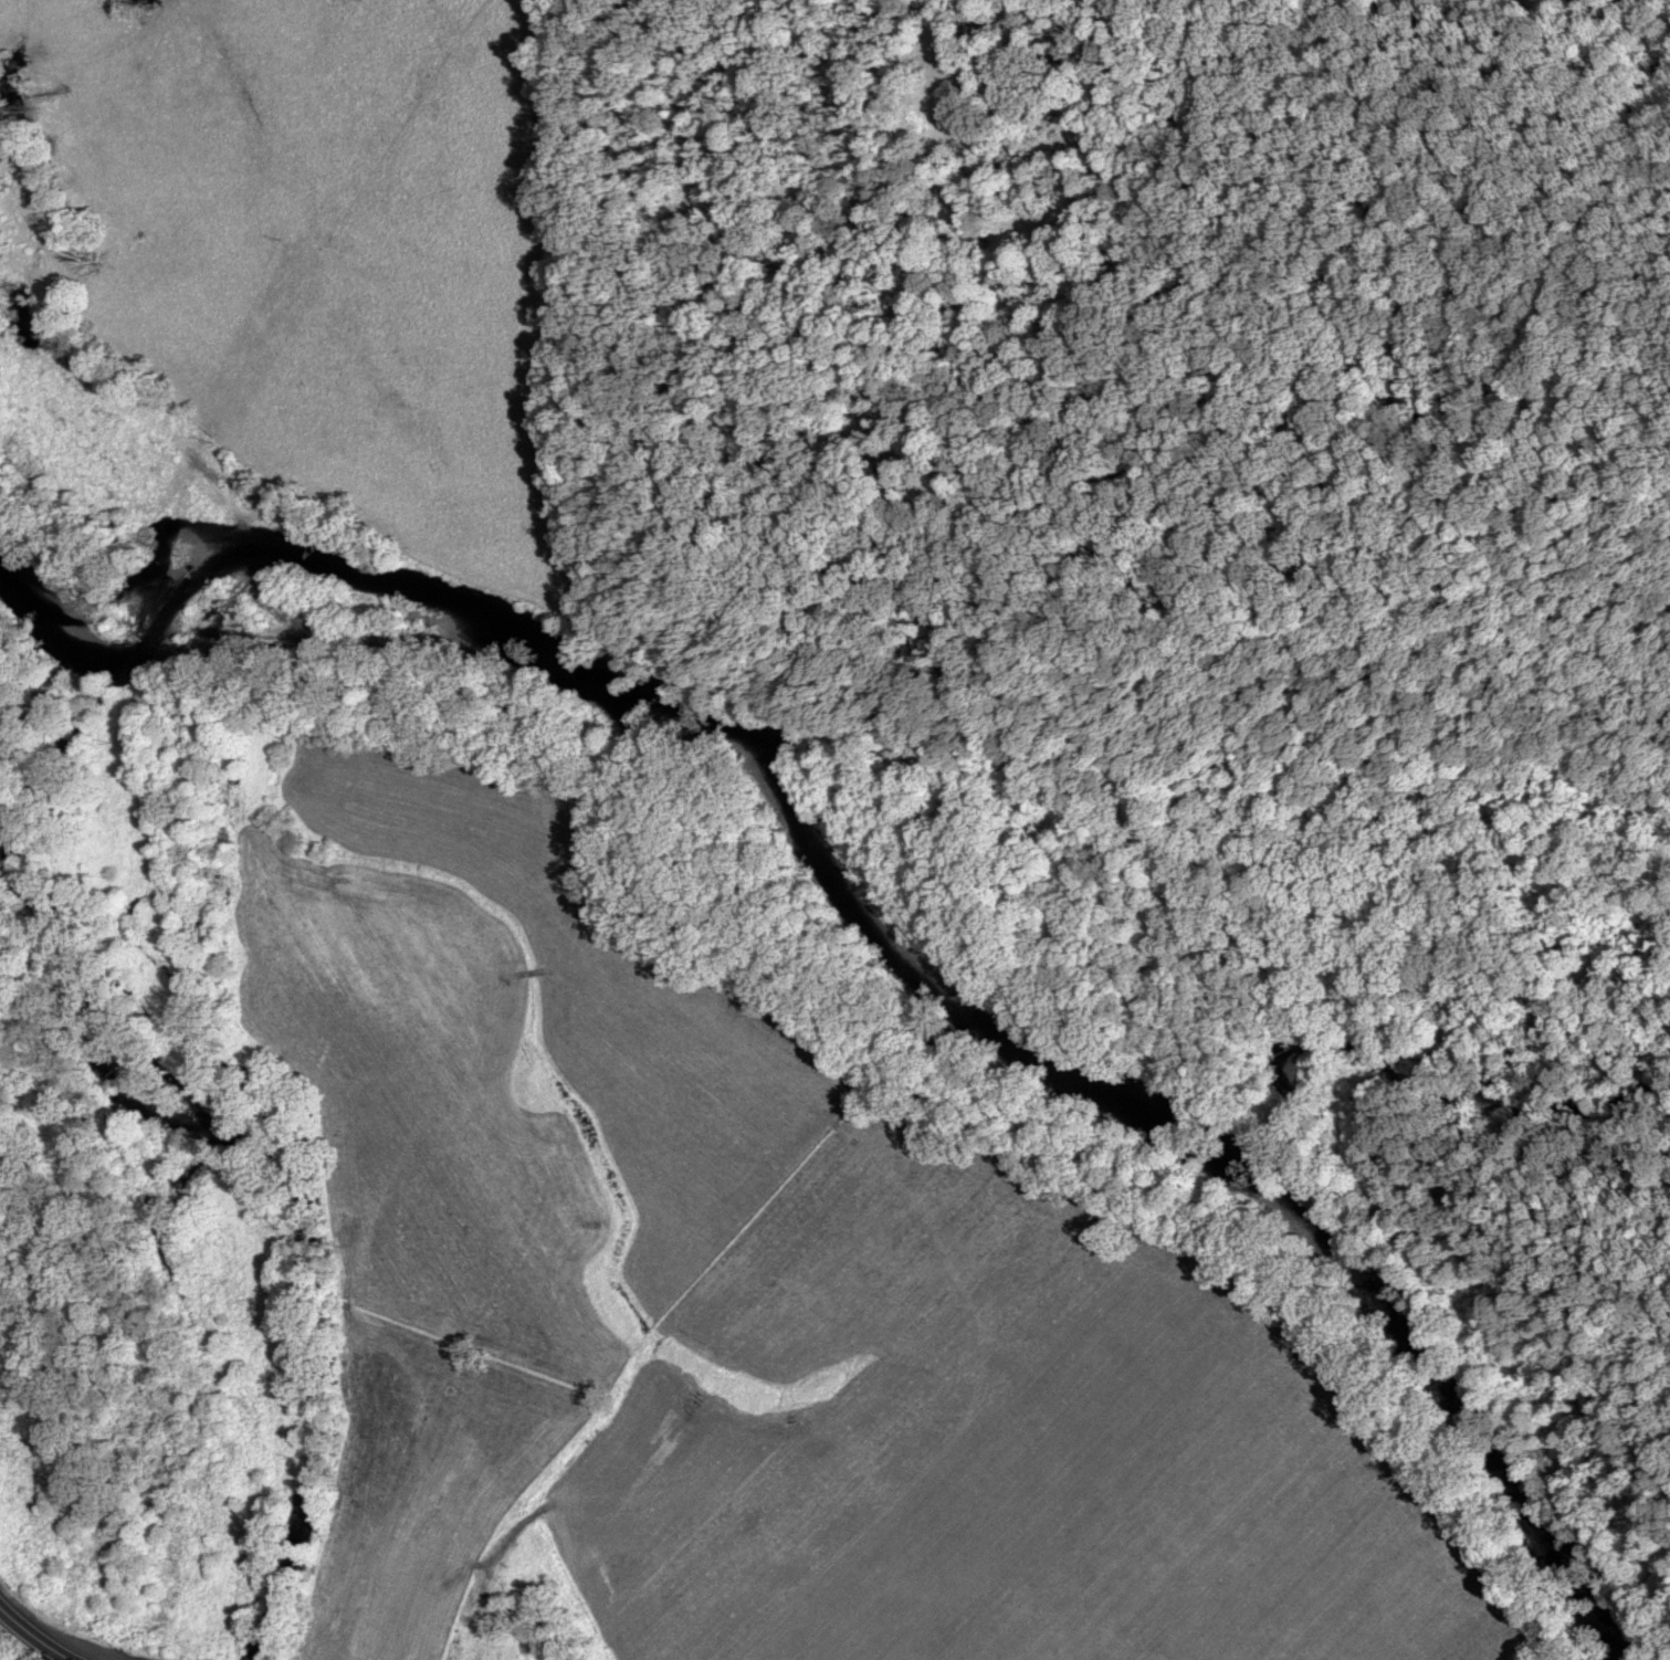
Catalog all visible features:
river: (873, 897)
road: (1109, 985)
road: (42, 1630)

